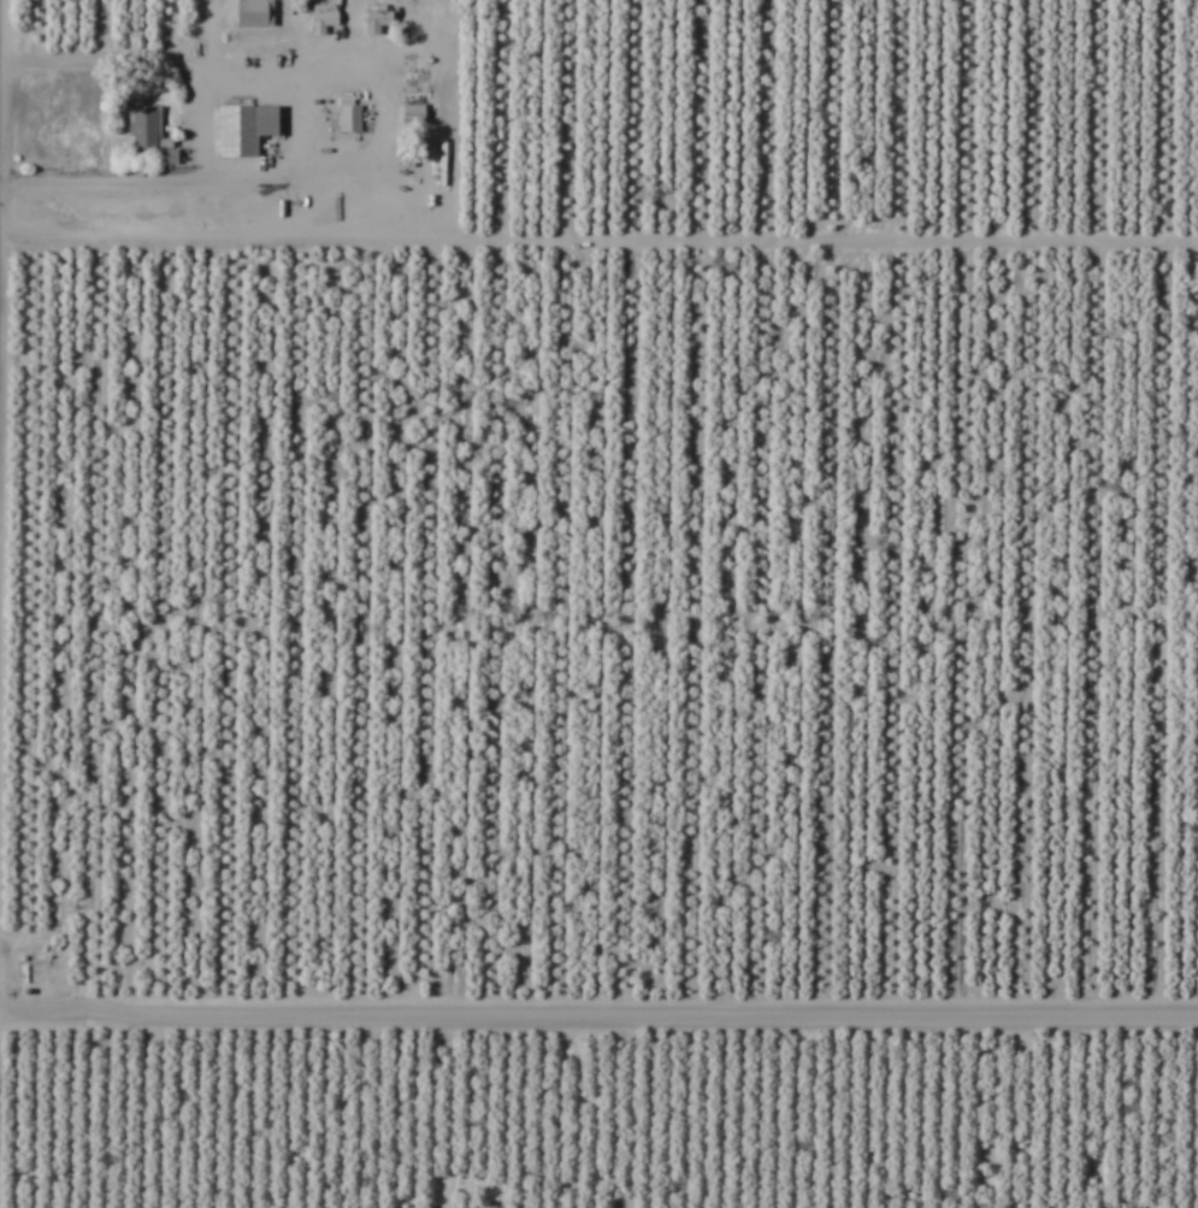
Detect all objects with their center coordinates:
building: (252, 13)
building: (376, 20)
building: (321, 22)
road: (178, 51)
building: (406, 61)
building: (412, 118)
building: (348, 119)
building: (243, 129)
crop: (598, 603)
road: (636, 647)
road: (598, 1002)

